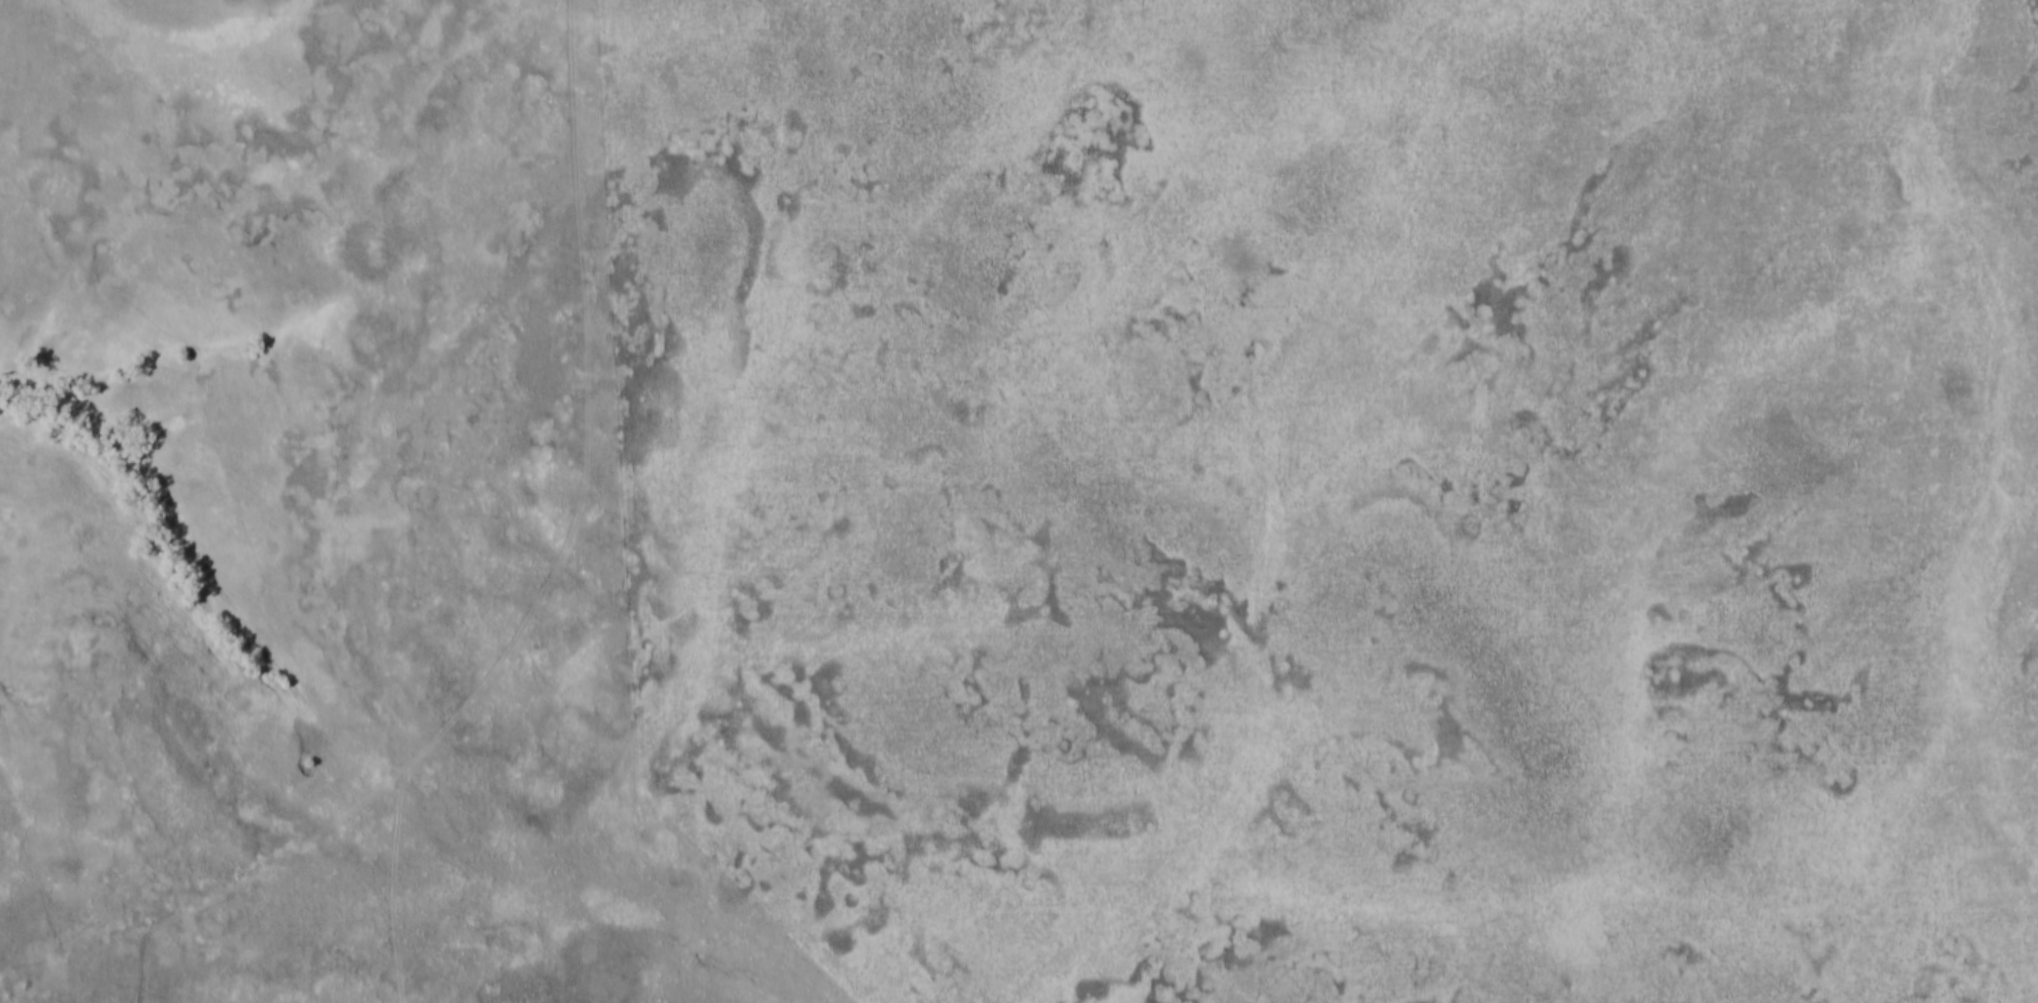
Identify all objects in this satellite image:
road: (763, 300)
road: (661, 631)

